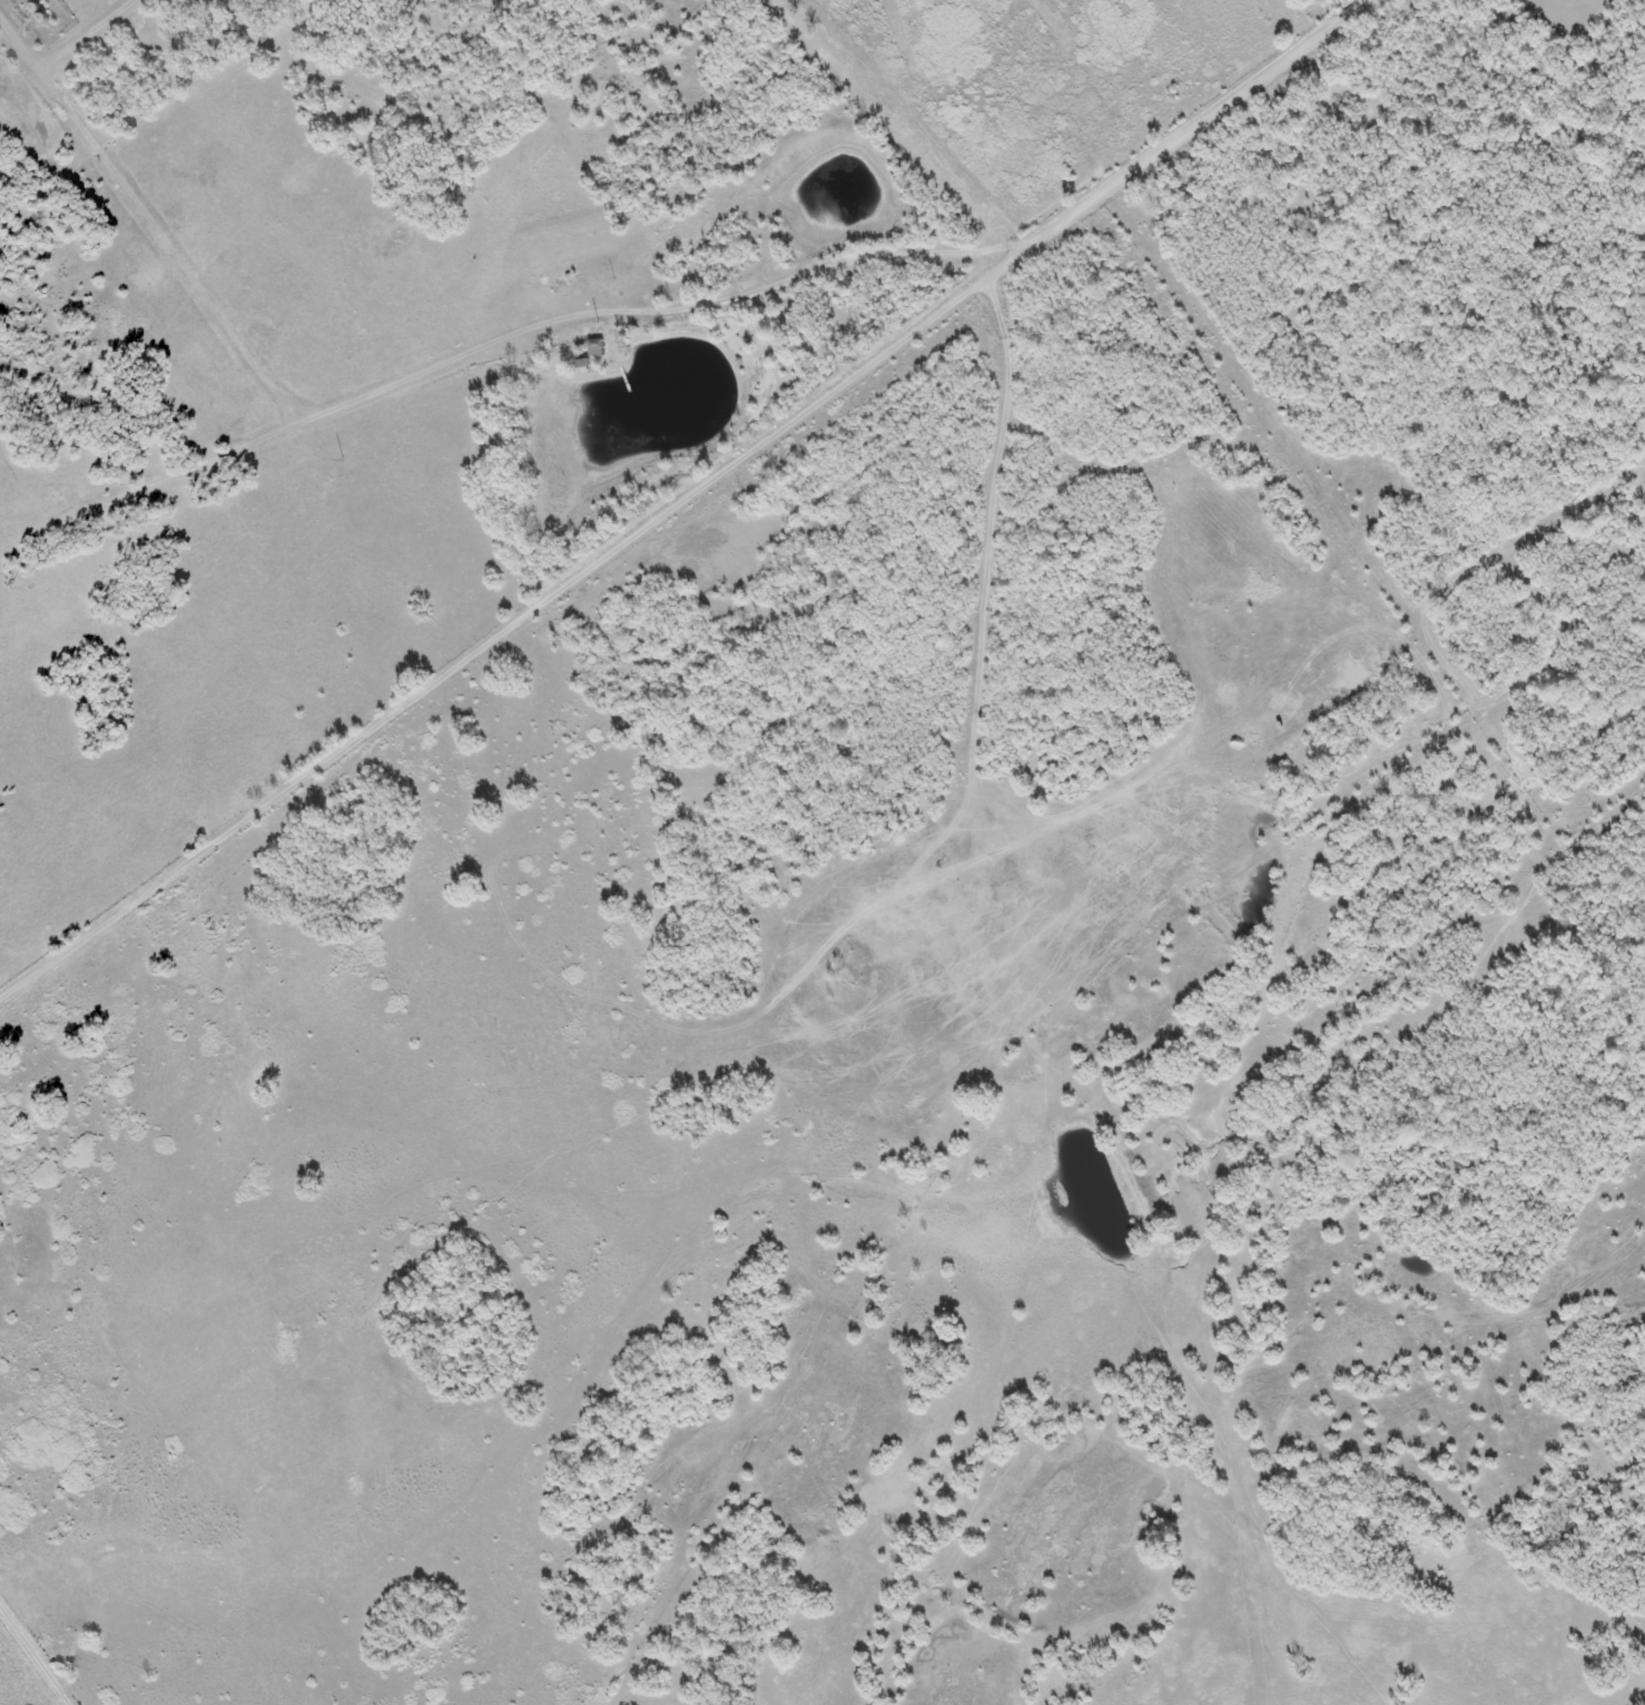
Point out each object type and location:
road: (910, 145)
road: (884, 352)
road: (979, 612)
road: (200, 849)
road: (38, 1650)

